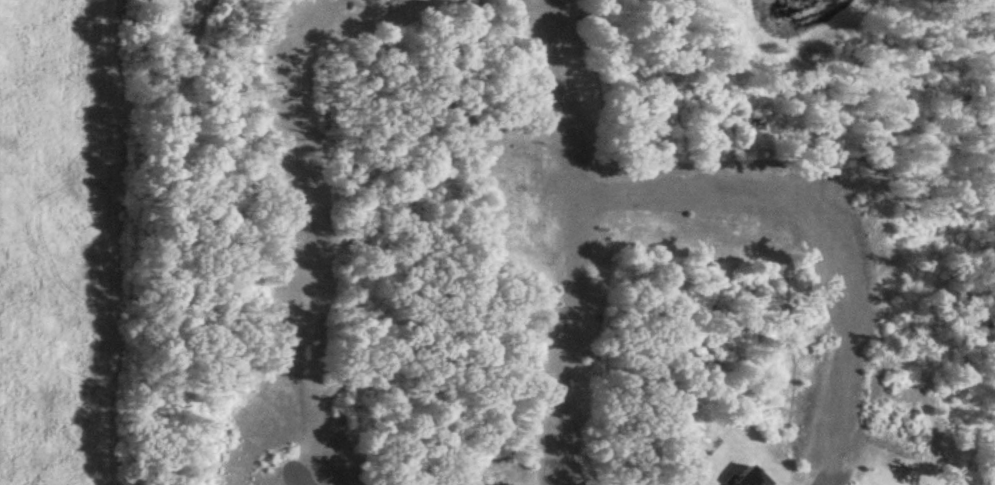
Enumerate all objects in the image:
building: (180, 15)
road: (575, 247)
road: (831, 476)
road: (293, 479)
building: (750, 479)

